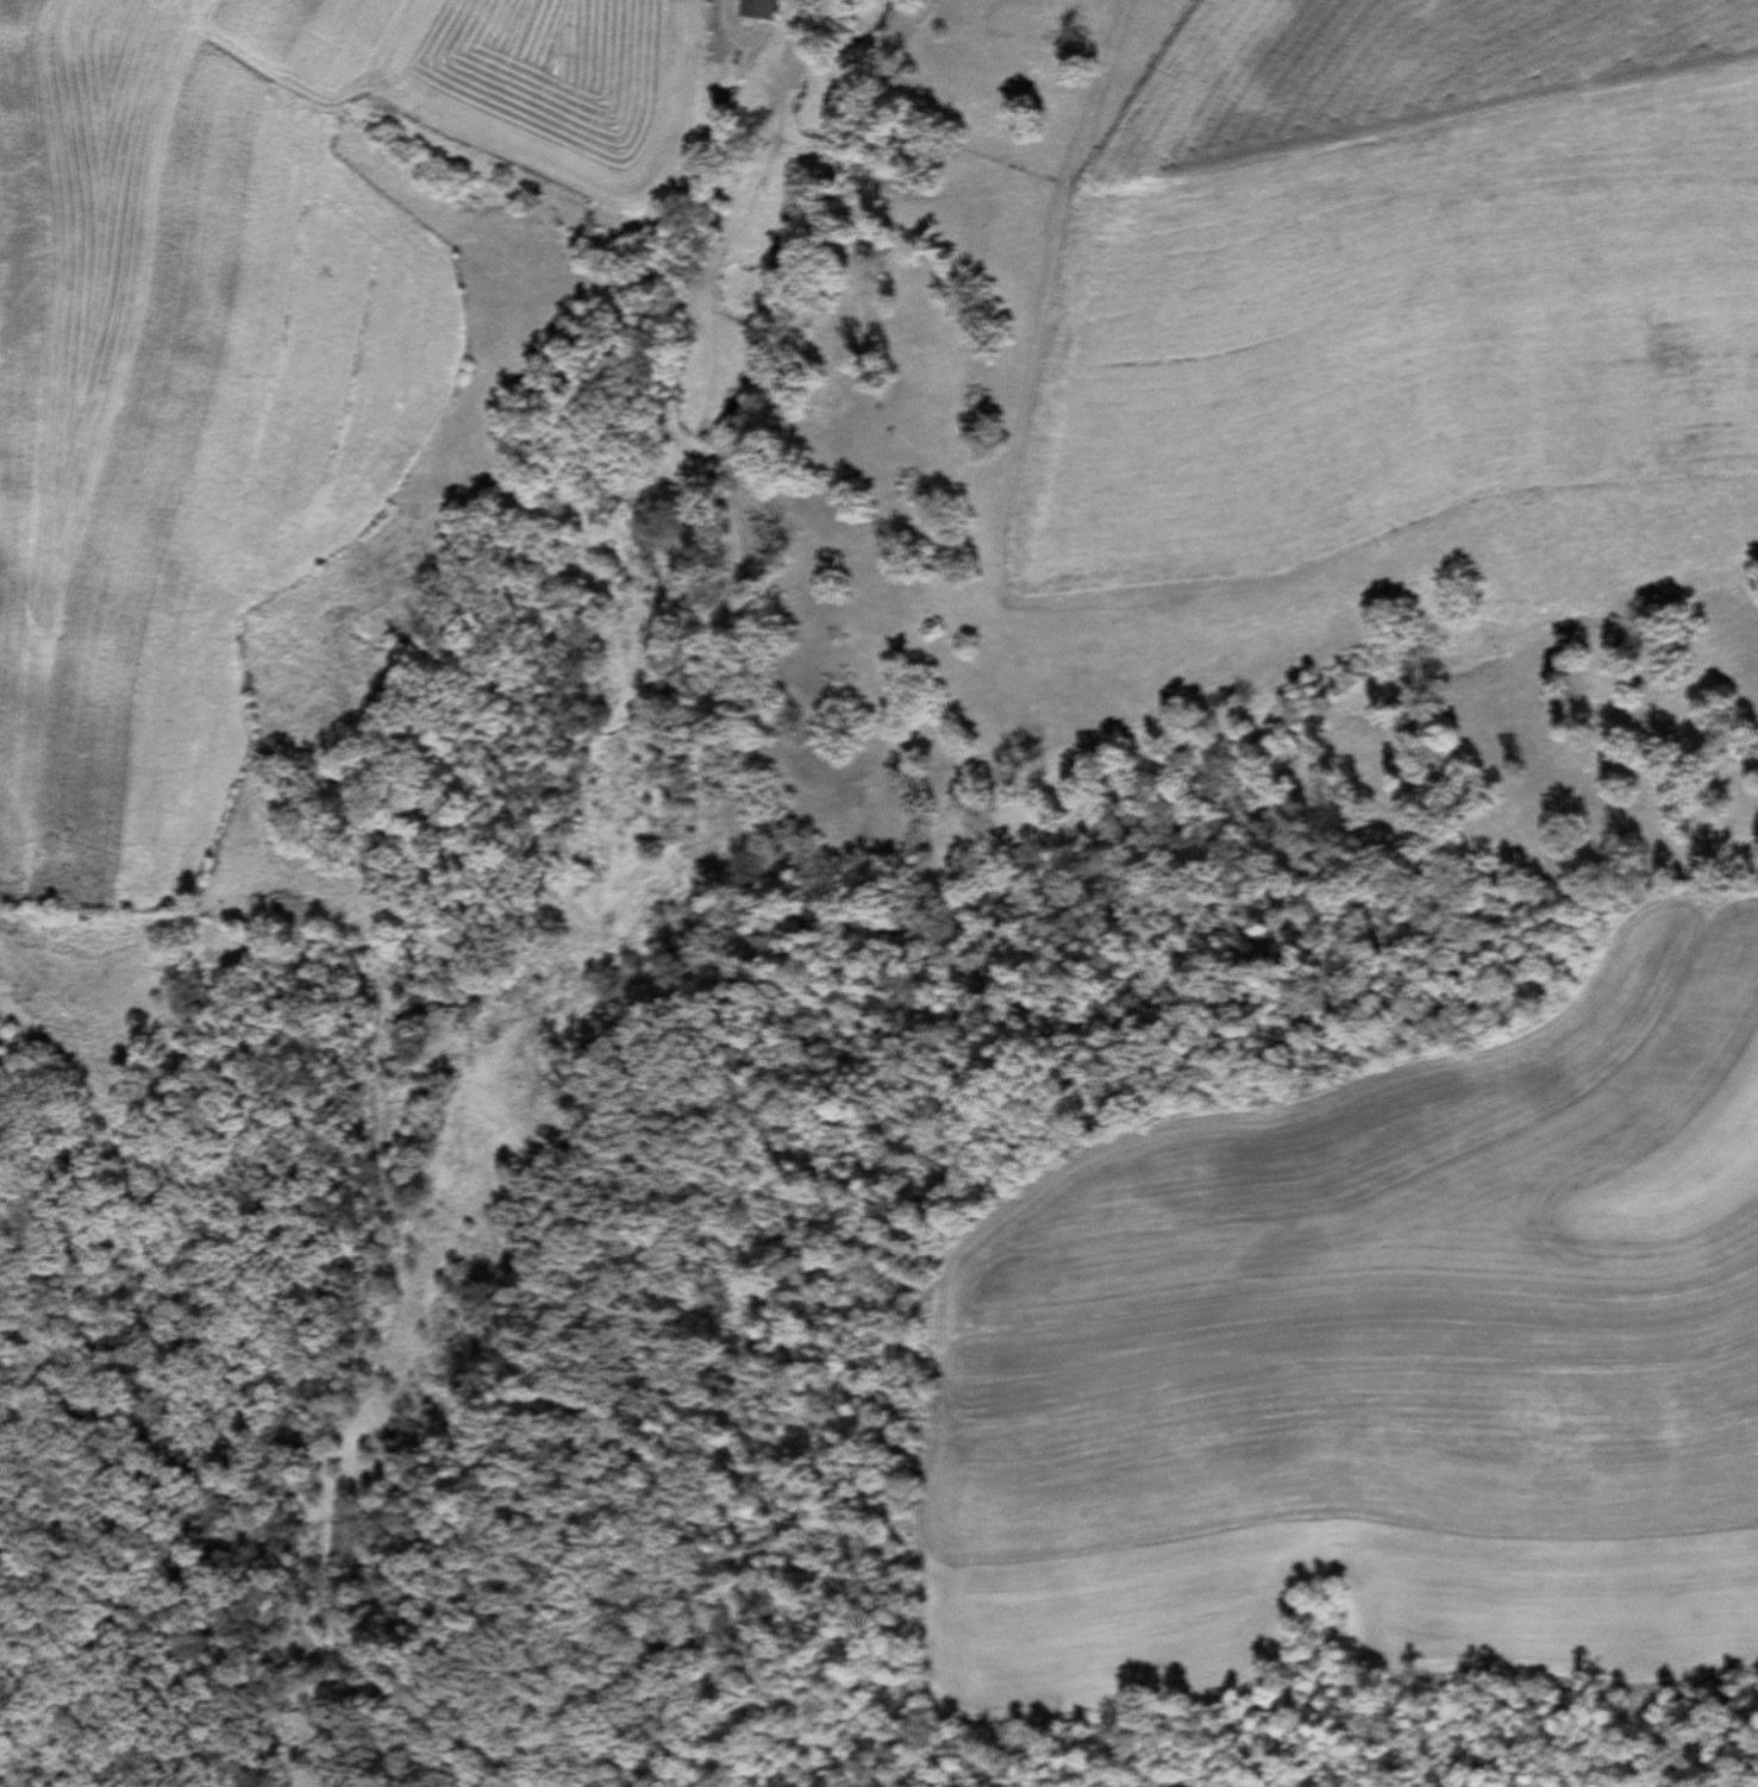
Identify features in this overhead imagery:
building: (756, 10)

